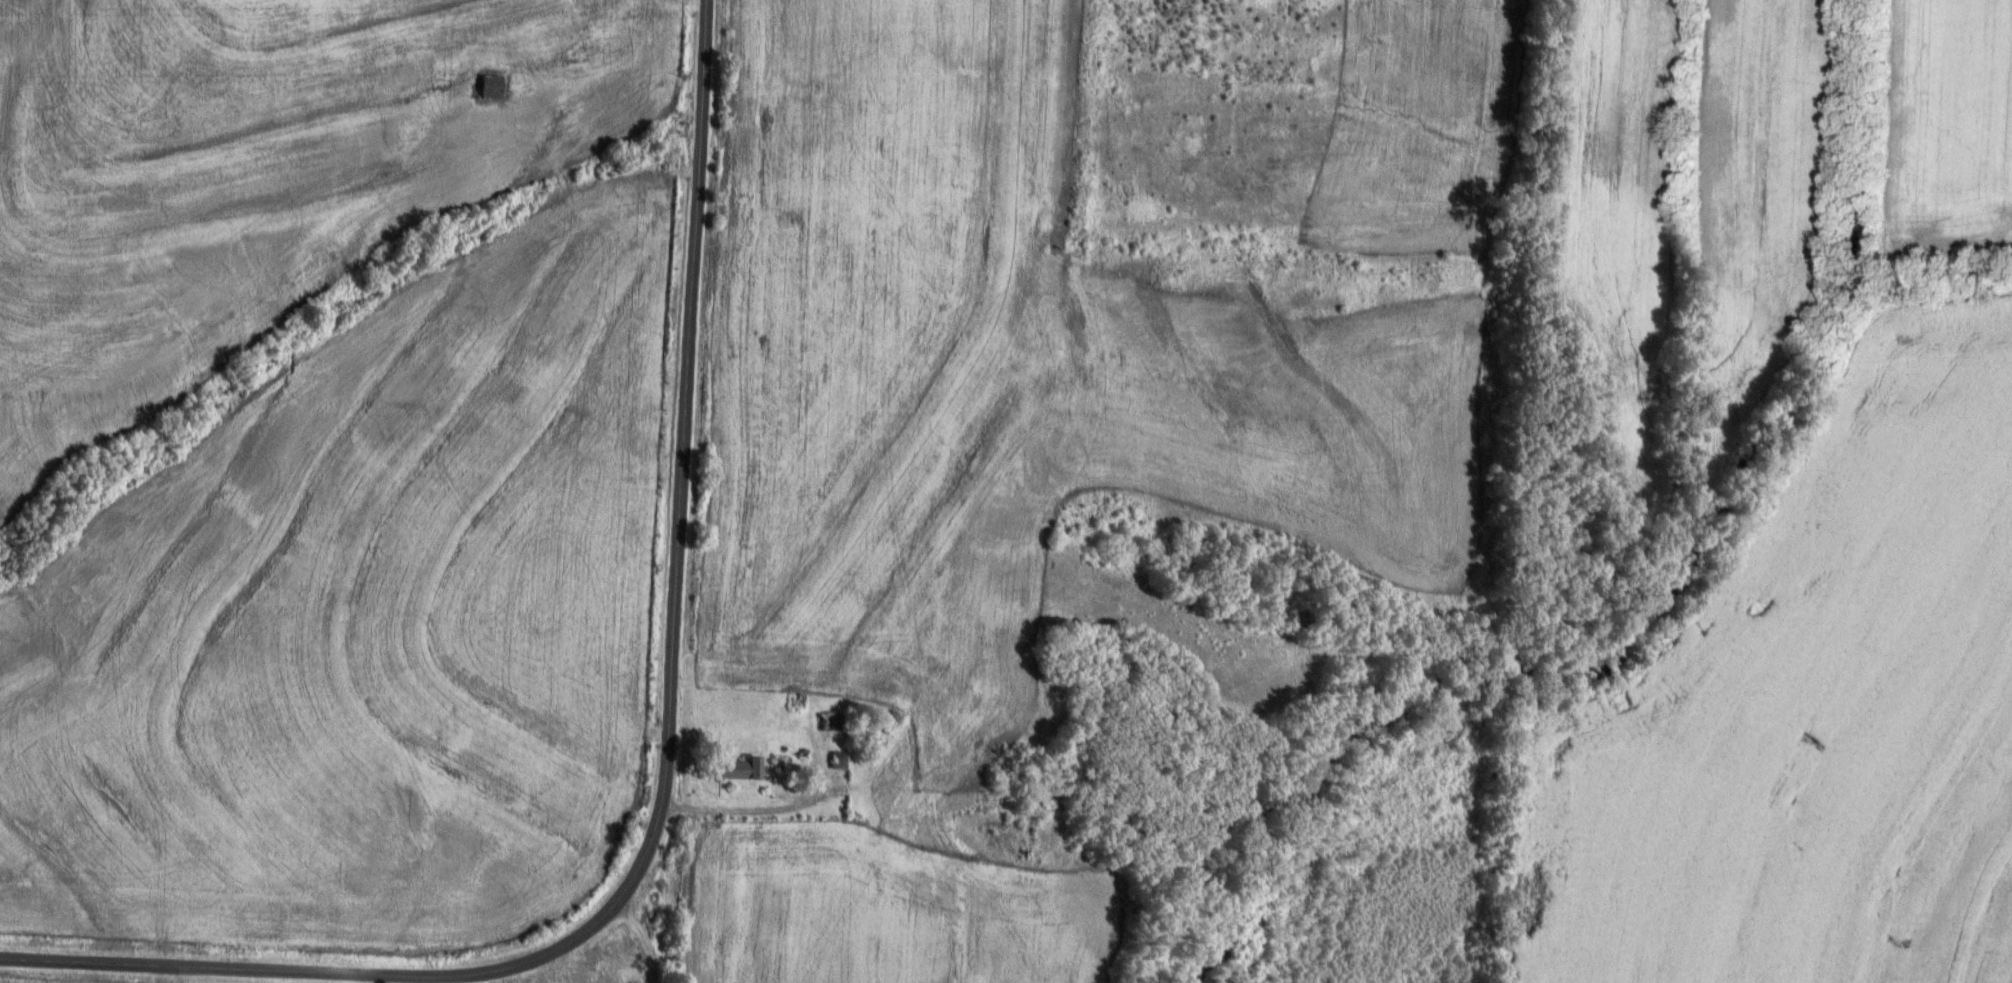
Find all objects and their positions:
building: (488, 88)
building: (832, 723)
building: (838, 762)
building: (739, 771)
road: (670, 778)
road: (891, 853)

